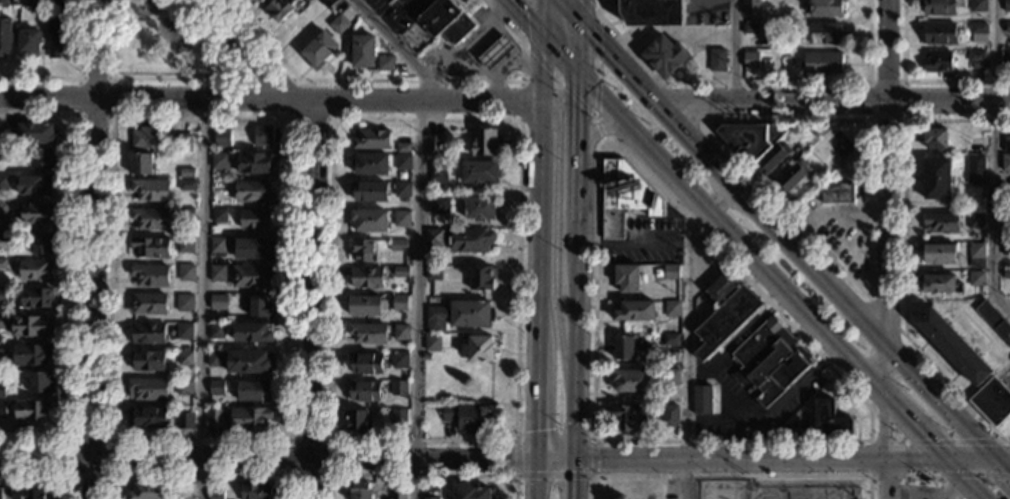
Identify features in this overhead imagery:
road: (562, 0)
road: (562, 0)
building: (258, 1)
building: (388, 1)
building: (3, 3)
building: (56, 3)
building: (327, 3)
building: (38, 5)
building: (977, 5)
building: (1006, 5)
building: (750, 7)
building: (936, 7)
building: (823, 8)
building: (279, 9)
road: (572, 10)
road: (581, 10)
building: (651, 12)
road: (396, 14)
road: (140, 15)
traffic signals: (581, 20)
building: (447, 21)
building: (509, 23)
building: (338, 24)
road: (598, 26)
building: (1007, 26)
building: (748, 28)
building: (977, 28)
building: (823, 33)
building: (938, 33)
building: (5, 35)
traffic signals: (538, 36)
building: (57, 37)
road: (542, 40)
road: (571, 40)
road: (523, 41)
building: (29, 42)
road: (469, 44)
park: (167, 48)
road: (97, 49)
building: (319, 49)
road: (580, 50)
building: (363, 51)
road: (734, 51)
building: (498, 52)
road: (611, 52)
road: (248, 55)
building: (664, 56)
building: (975, 58)
building: (1005, 58)
building: (715, 60)
building: (748, 60)
building: (935, 60)
building: (385, 63)
building: (821, 63)
road: (598, 68)
building: (981, 73)
road: (77, 77)
road: (196, 78)
road: (249, 78)
road: (556, 78)
road: (404, 79)
traffic signals: (580, 80)
road: (750, 81)
road: (914, 81)
road: (651, 94)
road: (48, 97)
road: (871, 99)
road: (520, 100)
road: (317, 101)
road: (677, 101)
road: (697, 103)
road: (605, 107)
road: (593, 108)
road: (553, 110)
road: (591, 114)
road: (76, 115)
road: (330, 119)
road: (901, 121)
road: (599, 127)
road: (601, 129)
building: (36, 133)
building: (263, 136)
building: (1, 138)
building: (145, 138)
building: (221, 138)
building: (934, 138)
building: (372, 139)
building: (749, 139)
road: (696, 141)
building: (180, 142)
building: (485, 142)
building: (976, 144)
building: (1006, 144)
building: (434, 145)
building: (403, 147)
road: (578, 150)
building: (4, 153)
building: (773, 157)
building: (42, 159)
building: (219, 160)
road: (994, 160)
building: (255, 162)
building: (402, 162)
building: (1006, 163)
building: (142, 164)
building: (371, 164)
building: (522, 164)
building: (975, 170)
road: (667, 171)
building: (438, 172)
building: (186, 173)
building: (479, 173)
building: (792, 176)
building: (936, 178)
building: (3, 182)
building: (35, 184)
building: (187, 184)
building: (402, 189)
building: (151, 191)
building: (370, 191)
building: (1005, 191)
building: (253, 192)
building: (837, 193)
road: (718, 194)
road: (885, 194)
building: (624, 196)
building: (439, 206)
road: (556, 206)
building: (479, 208)
building: (3, 213)
building: (37, 213)
building: (186, 213)
building: (219, 215)
building: (150, 218)
building: (401, 218)
building: (257, 219)
building: (1005, 220)
building: (370, 221)
building: (975, 221)
building: (940, 223)
road: (691, 228)
road: (423, 235)
building: (2, 237)
building: (434, 238)
building: (469, 240)
building: (41, 243)
building: (185, 244)
building: (218, 245)
building: (398, 245)
road: (867, 246)
building: (151, 247)
building: (255, 248)
building: (1005, 248)
road: (536, 249)
road: (903, 249)
building: (363, 250)
road: (634, 250)
building: (976, 250)
building: (939, 253)
building: (2, 264)
building: (36, 271)
building: (400, 272)
building: (434, 272)
building: (670, 272)
building: (186, 273)
building: (218, 273)
building: (1006, 273)
road: (74, 275)
building: (150, 276)
building: (252, 276)
building: (366, 277)
building: (479, 277)
building: (628, 278)
building: (976, 278)
building: (939, 284)
building: (722, 286)
building: (2, 295)
building: (35, 298)
road: (93, 298)
road: (201, 299)
road: (793, 299)
road: (309, 300)
building: (218, 301)
building: (399, 302)
building: (147, 303)
building: (184, 303)
building: (366, 305)
building: (261, 307)
building: (672, 308)
building: (635, 311)
building: (458, 316)
road: (866, 318)
building: (725, 321)
building: (994, 321)
building: (3, 322)
road: (869, 326)
building: (31, 327)
building: (183, 331)
building: (216, 331)
building: (253, 332)
building: (367, 332)
building: (401, 332)
road: (563, 333)
building: (147, 334)
building: (671, 339)
road: (576, 341)
building: (433, 343)
building: (954, 347)
building: (624, 348)
building: (478, 349)
building: (30, 354)
road: (688, 356)
building: (426, 357)
building: (185, 358)
building: (215, 359)
building: (400, 360)
building: (771, 360)
building: (147, 361)
building: (2, 362)
building: (250, 363)
building: (366, 363)
road: (695, 370)
building: (670, 376)
building: (737, 376)
building: (633, 380)
building: (39, 382)
road: (713, 382)
building: (184, 387)
building: (216, 387)
building: (399, 387)
building: (147, 389)
building: (1, 390)
building: (254, 391)
building: (364, 391)
road: (744, 391)
building: (702, 399)
building: (992, 401)
building: (1, 406)
road: (850, 408)
building: (32, 410)
road: (853, 413)
building: (669, 415)
road: (879, 416)
building: (147, 417)
building: (214, 417)
building: (399, 417)
building: (467, 417)
building: (630, 417)
building: (830, 418)
building: (250, 419)
road: (725, 419)
building: (185, 420)
building: (358, 421)
road: (857, 421)
road: (881, 425)
road: (915, 425)
traffic signals: (535, 430)
road: (328, 438)
road: (902, 438)
road: (110, 439)
road: (784, 440)
road: (878, 440)
road: (905, 445)
road: (908, 445)
road: (267, 458)
road: (762, 460)
road: (1004, 460)
traffic signals: (511, 461)
road: (555, 461)
traffic signals: (599, 461)
road: (973, 461)
traffic signals: (998, 461)
traffic signals: (949, 462)
road: (1004, 467)
road: (48, 474)
road: (71, 474)
road: (197, 474)
road: (326, 474)
road: (923, 474)
road: (869, 475)
road: (419, 476)
road: (730, 476)
road: (553, 477)
road: (887, 479)
road: (575, 480)
traffic signals: (575, 480)
road: (685, 480)
road: (967, 480)
building: (147, 491)
building: (256, 491)
building: (360, 491)
building: (468, 491)
building: (28, 492)
building: (0, 493)
building: (214, 495)
building: (397, 495)
building: (182, 497)
building: (430, 498)

